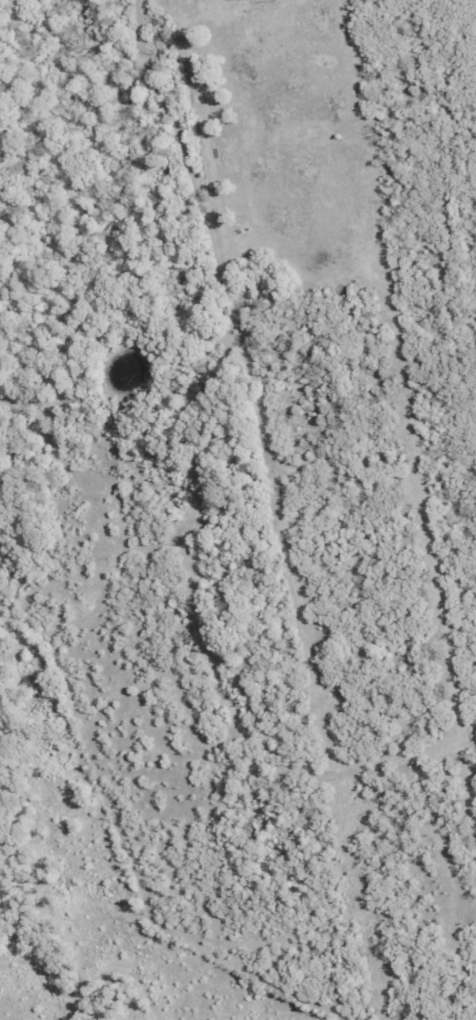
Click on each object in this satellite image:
building: (218, 0)
road: (180, 148)

